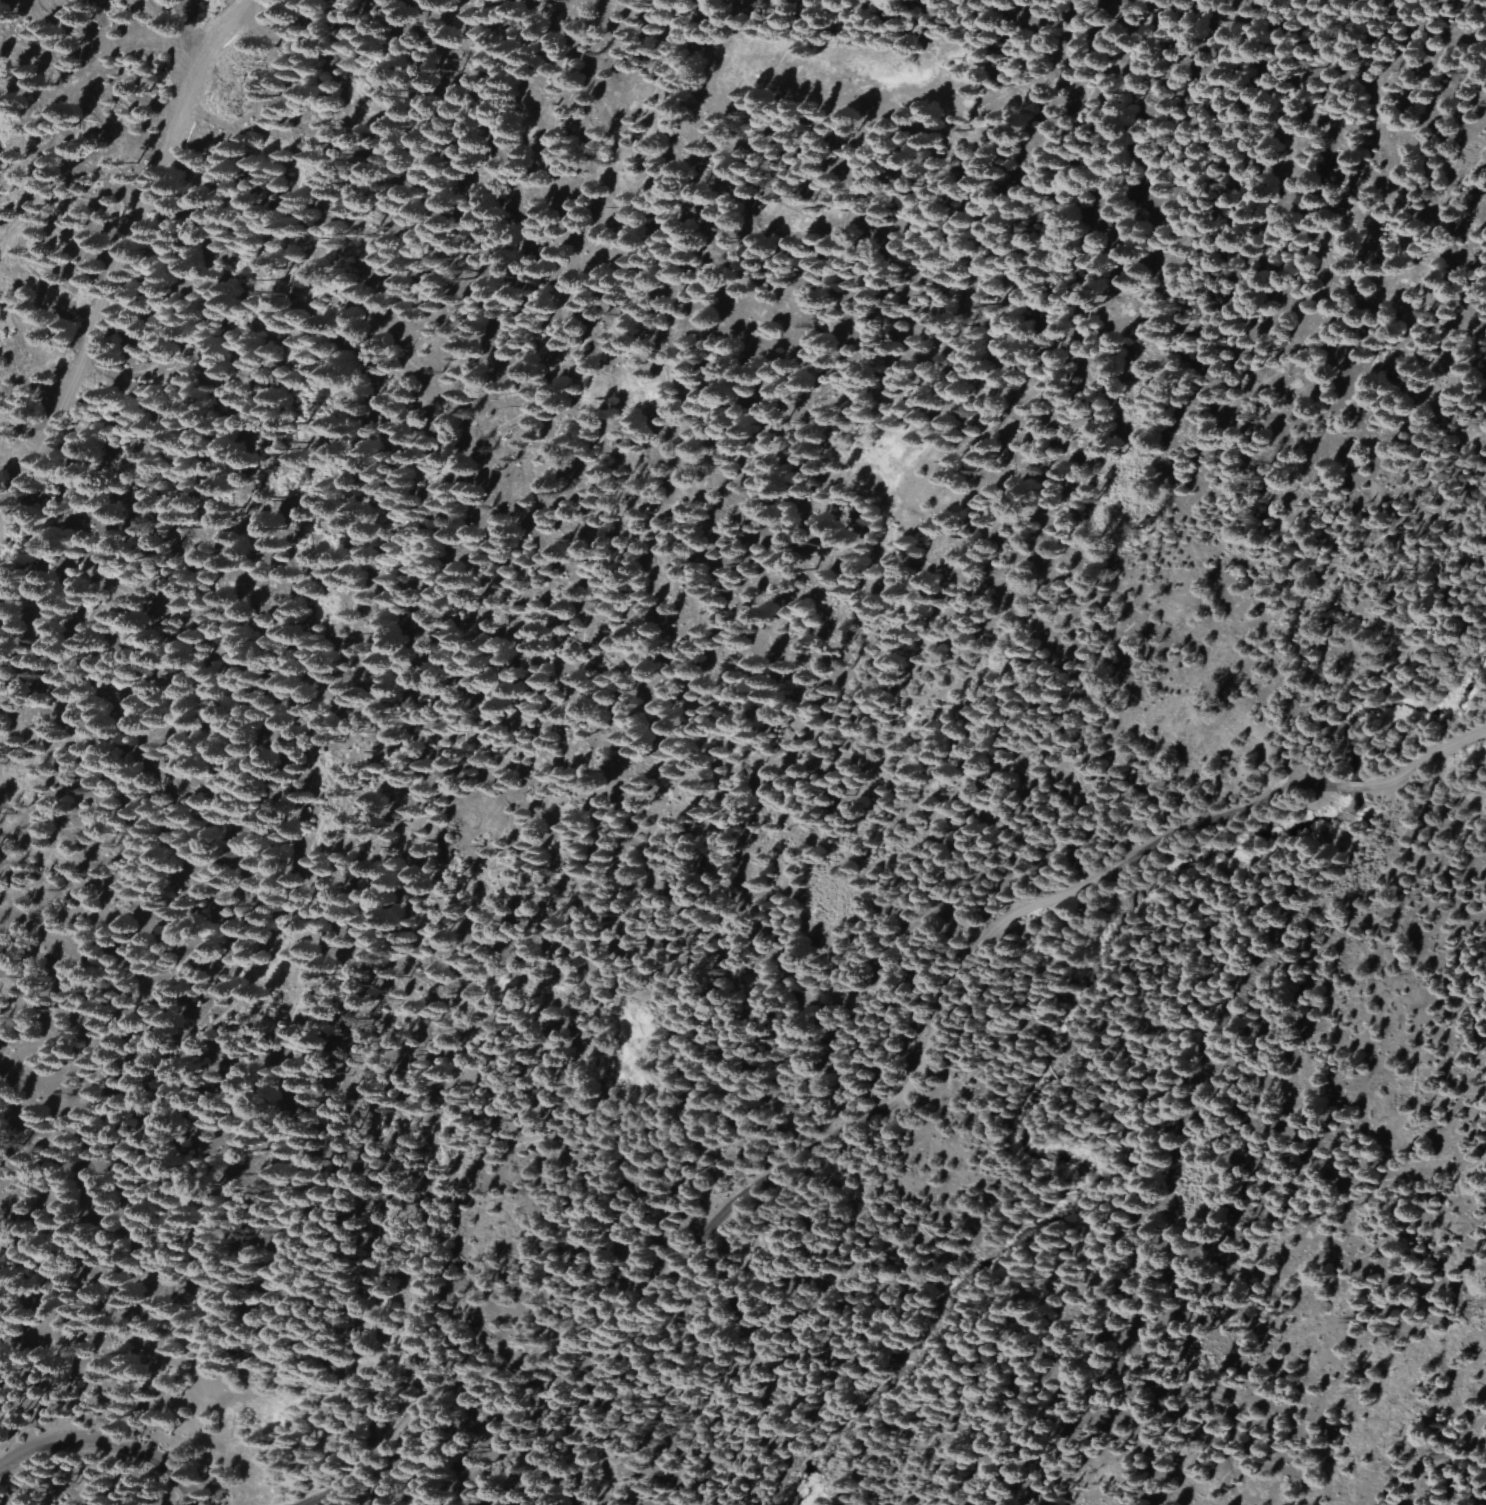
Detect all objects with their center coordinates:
road: (119, 262)
road: (900, 1095)
road: (107, 1442)

